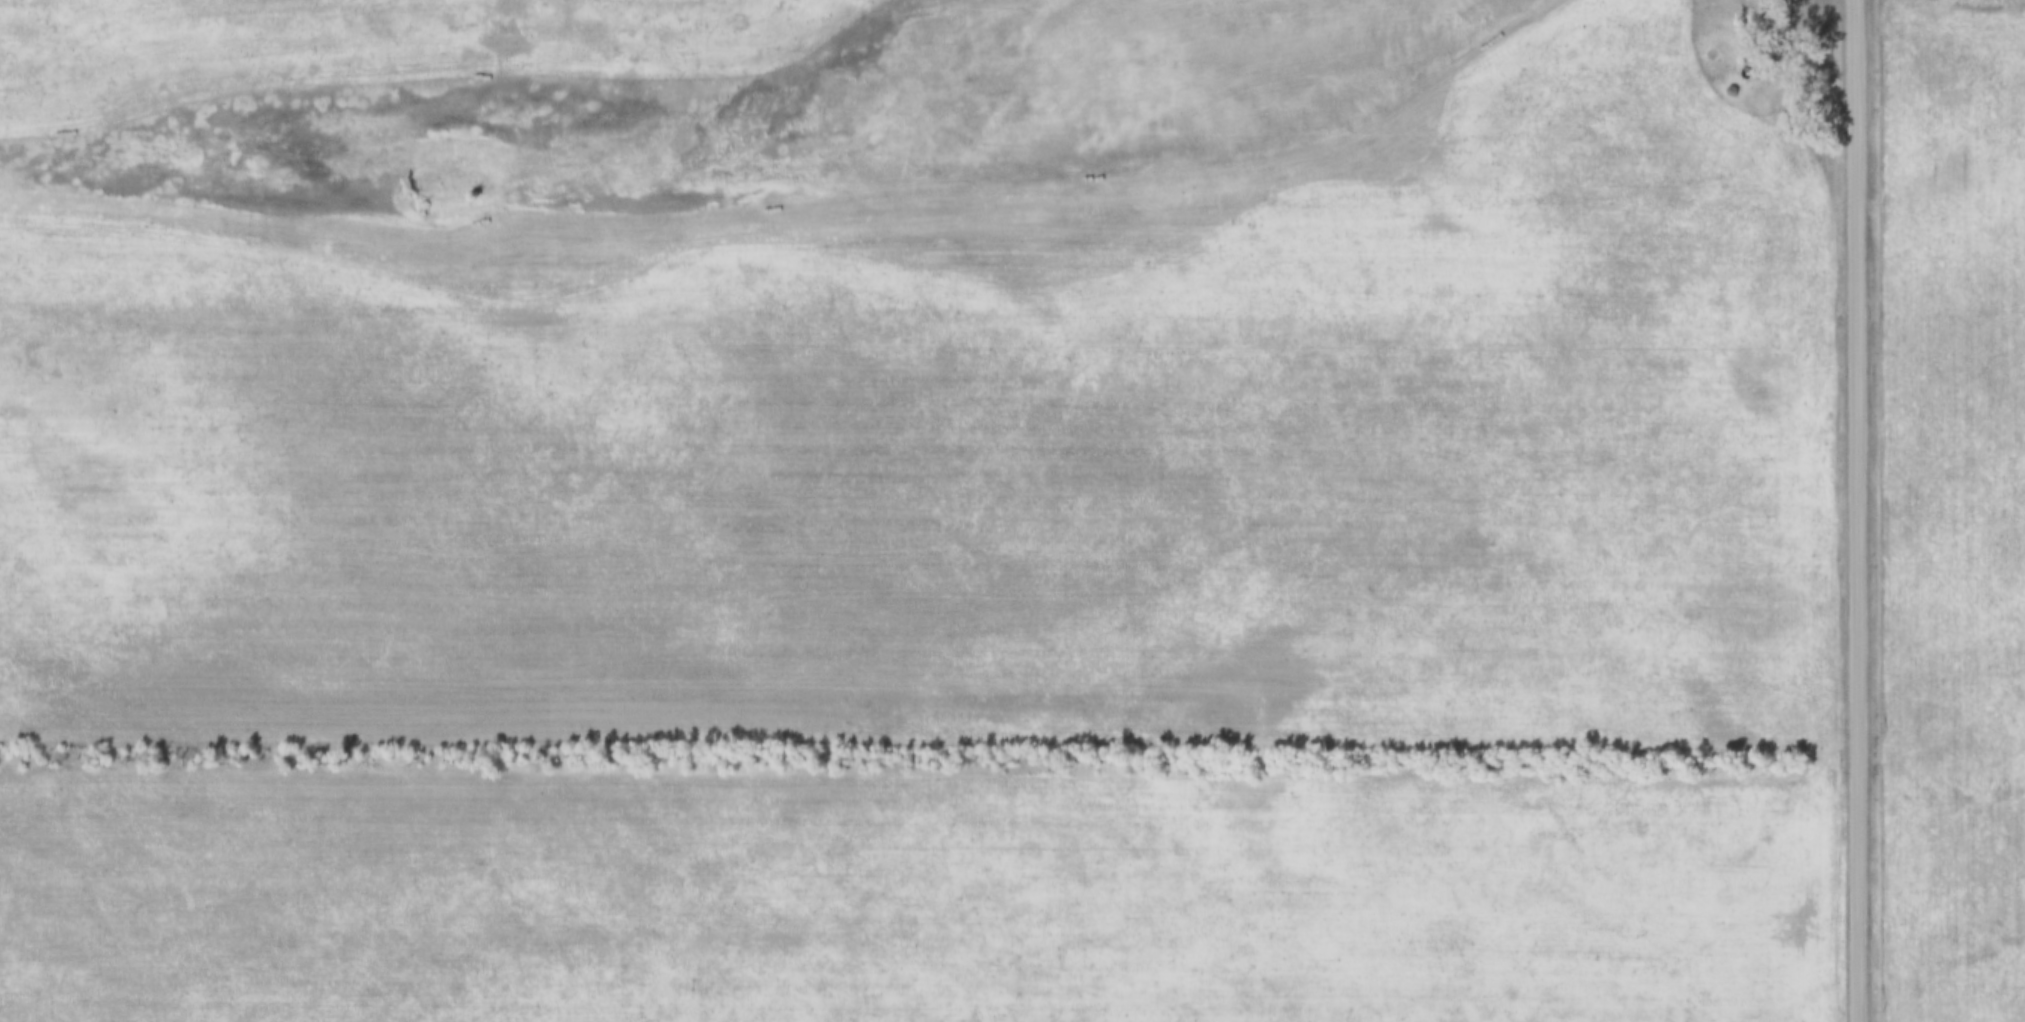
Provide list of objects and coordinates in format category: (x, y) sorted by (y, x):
road: (1855, 511)

